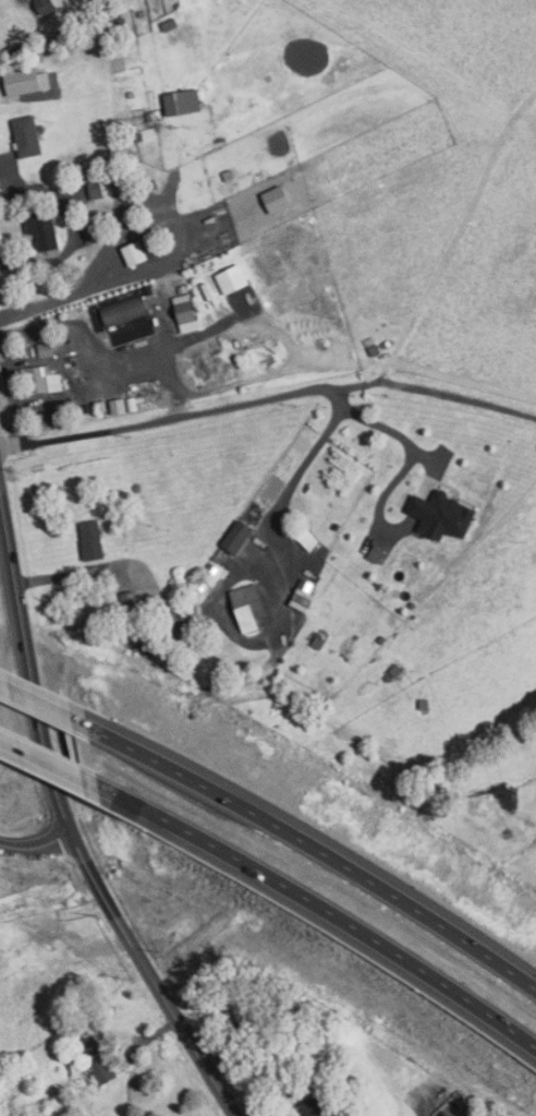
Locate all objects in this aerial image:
building: (46, 5)
building: (143, 14)
building: (123, 21)
building: (165, 24)
building: (171, 25)
road: (32, 36)
building: (28, 81)
building: (133, 94)
building: (185, 101)
building: (155, 116)
building: (28, 136)
building: (141, 137)
building: (94, 172)
building: (227, 175)
building: (126, 176)
road: (7, 177)
building: (156, 183)
building: (97, 189)
road: (49, 190)
building: (273, 200)
road: (182, 223)
building: (45, 229)
building: (93, 231)
road: (455, 232)
building: (144, 251)
building: (3, 260)
building: (234, 279)
building: (150, 289)
road: (49, 297)
building: (187, 310)
building: (119, 311)
building: (127, 329)
building: (40, 348)
building: (47, 349)
building: (37, 380)
building: (57, 383)
road: (16, 393)
road: (456, 393)
road: (336, 395)
building: (133, 404)
building: (105, 406)
building: (120, 406)
building: (88, 408)
road: (187, 413)
road: (399, 435)
road: (289, 489)
building: (439, 514)
building: (334, 525)
building: (234, 536)
building: (306, 538)
building: (89, 540)
building: (374, 553)
building: (211, 567)
road: (65, 575)
building: (304, 584)
building: (199, 585)
building: (126, 599)
building: (411, 603)
building: (246, 604)
building: (173, 612)
building: (381, 639)
building: (316, 641)
building: (394, 670)
building: (387, 676)
building: (423, 703)
road: (33, 705)
building: (10, 737)
road: (39, 759)
road: (69, 827)
road: (306, 845)
road: (37, 852)
road: (313, 904)
building: (263, 1001)
building: (234, 1007)
building: (95, 1058)
road: (426, 1101)
building: (312, 1106)

